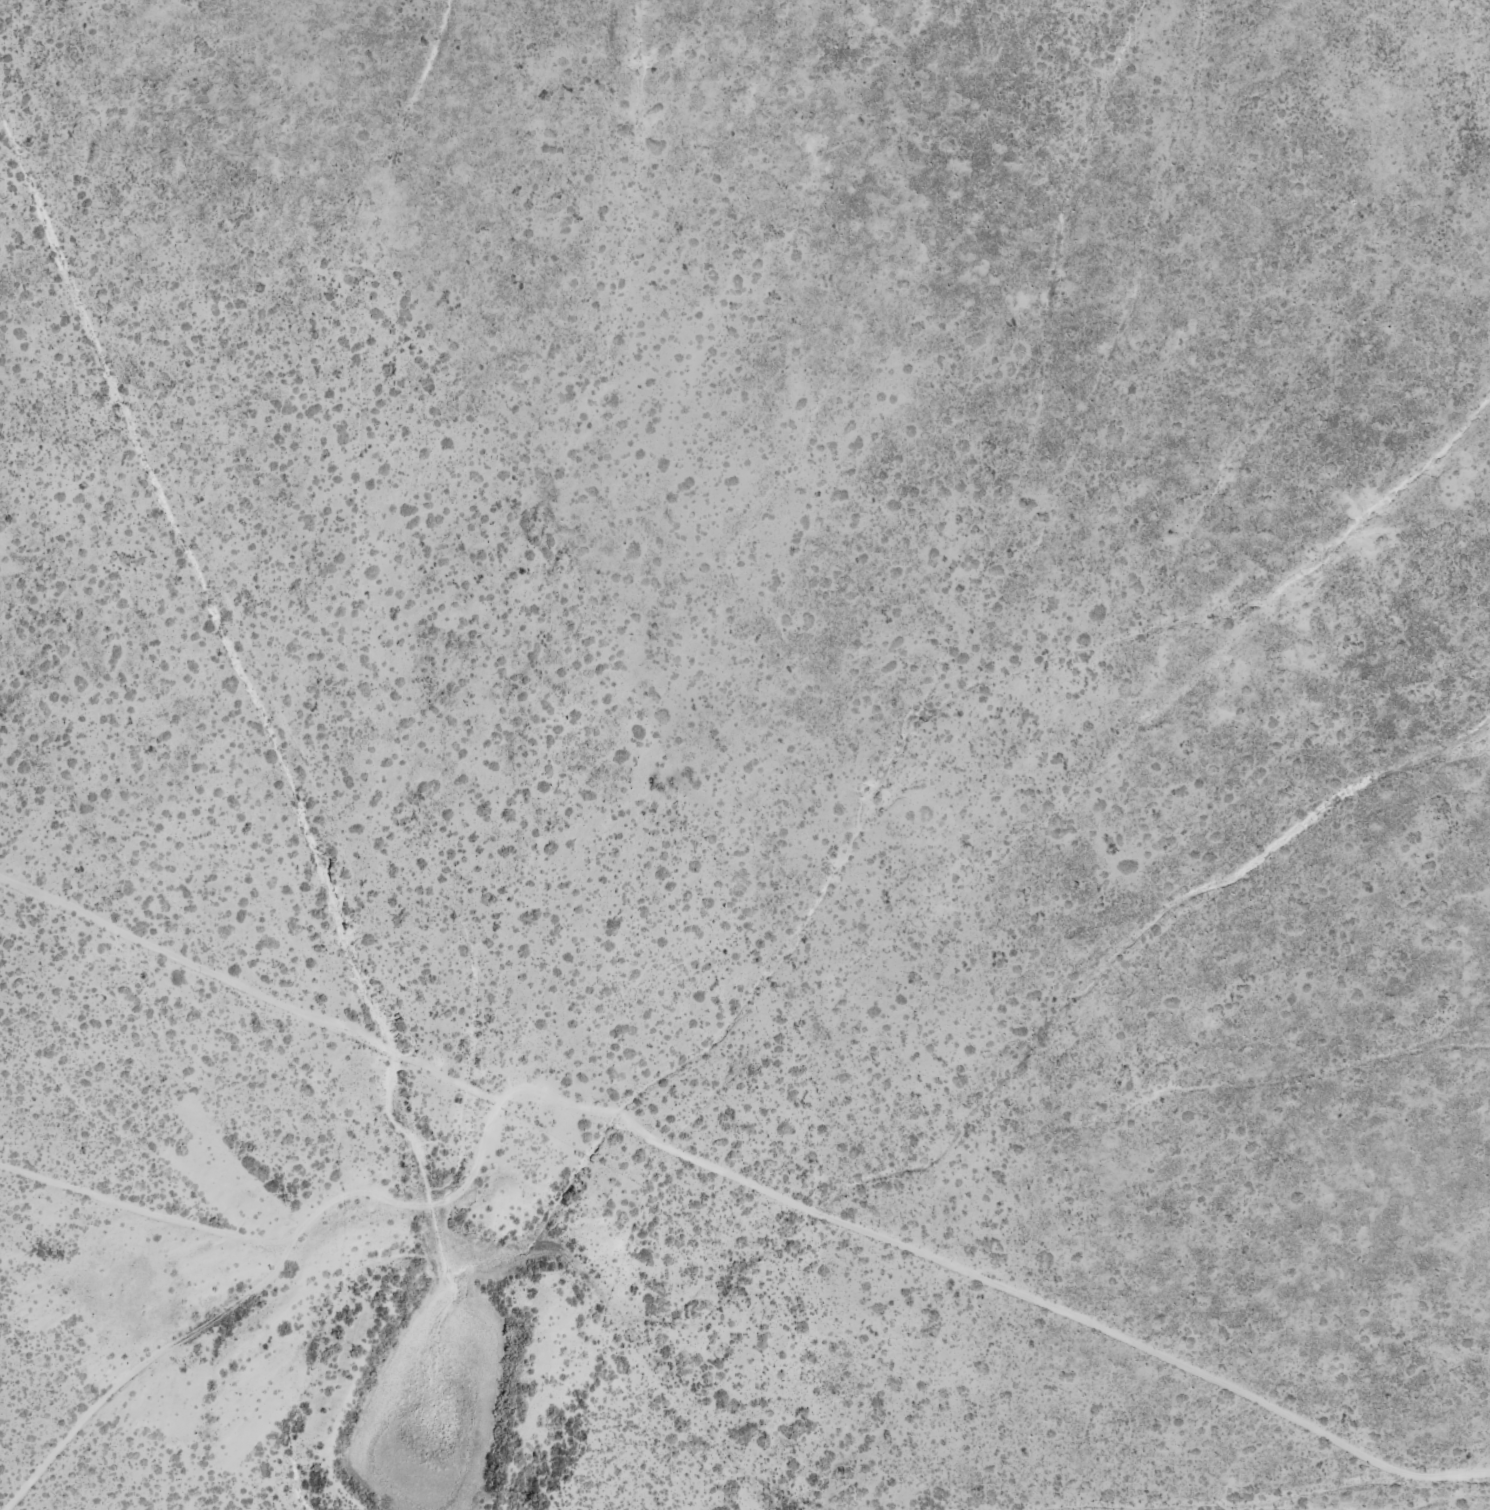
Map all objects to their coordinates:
road: (134, 1188)
road: (861, 1221)
road: (136, 1368)

